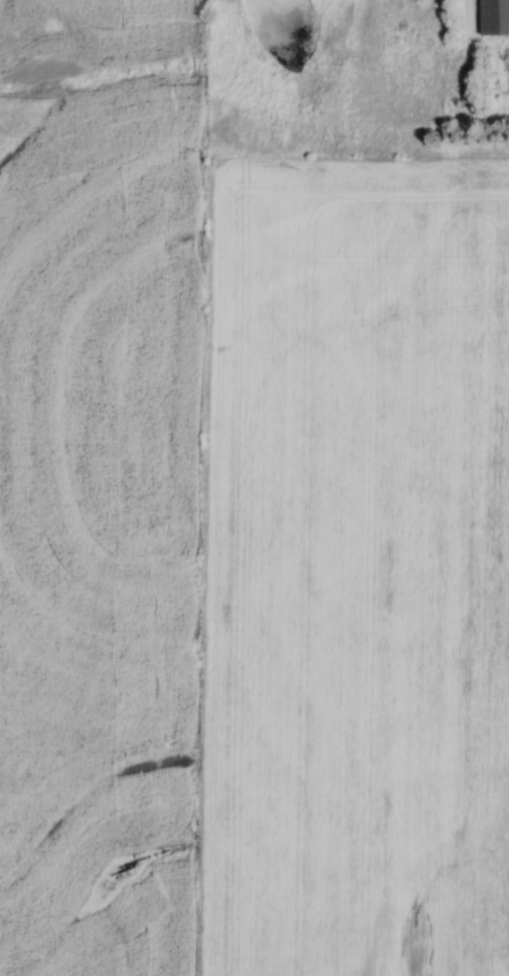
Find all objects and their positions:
building: (493, 17)

